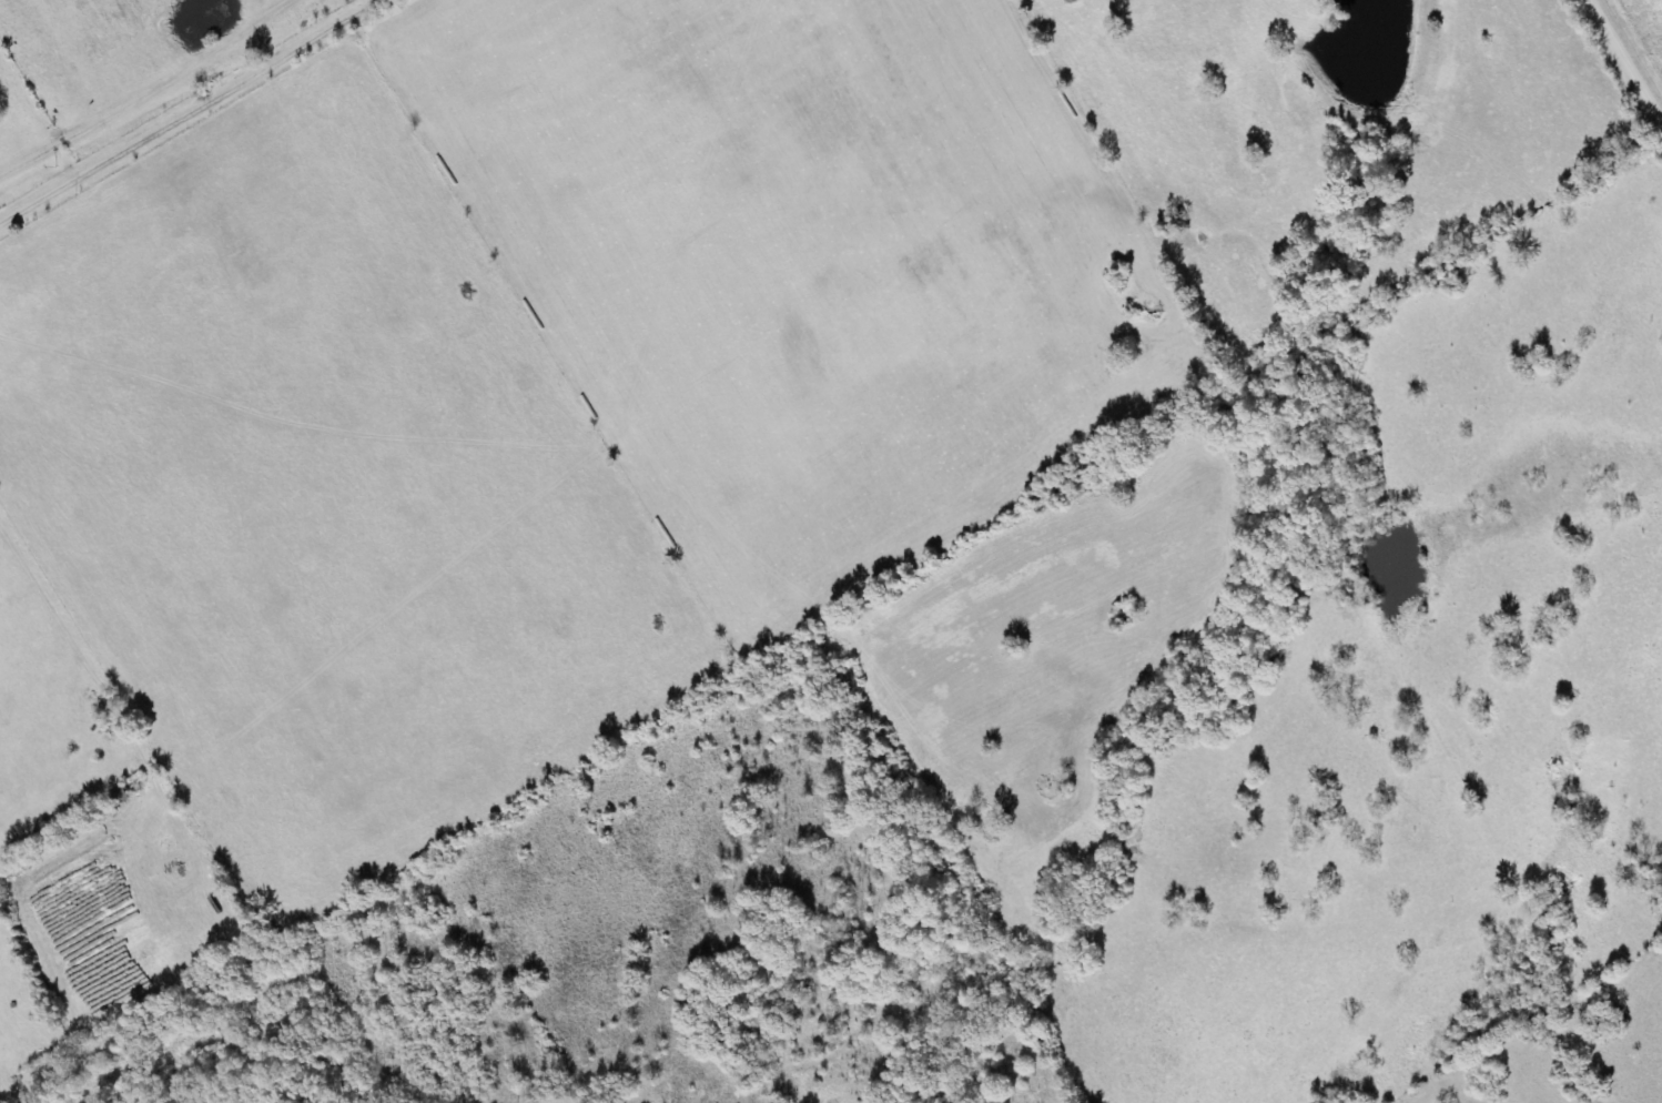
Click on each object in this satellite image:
road: (1625, 61)

